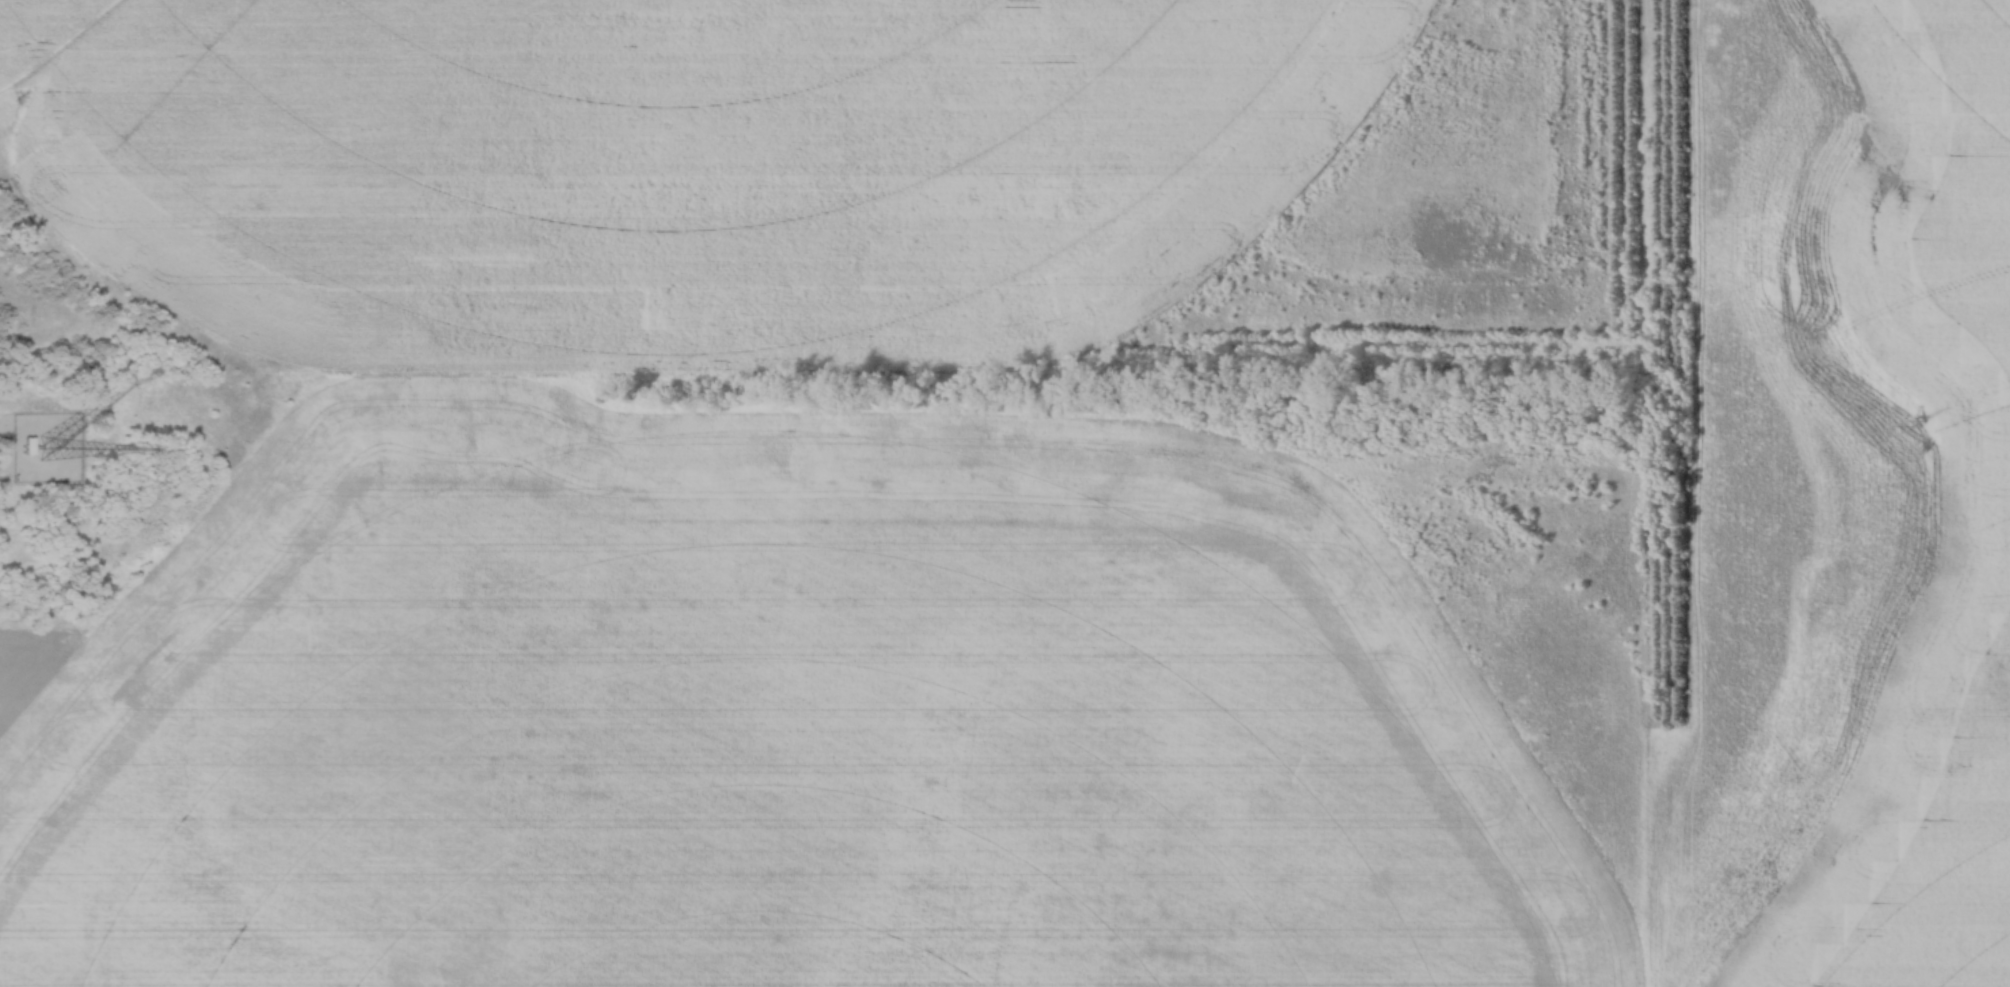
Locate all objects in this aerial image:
power tower: (1919, 426)

